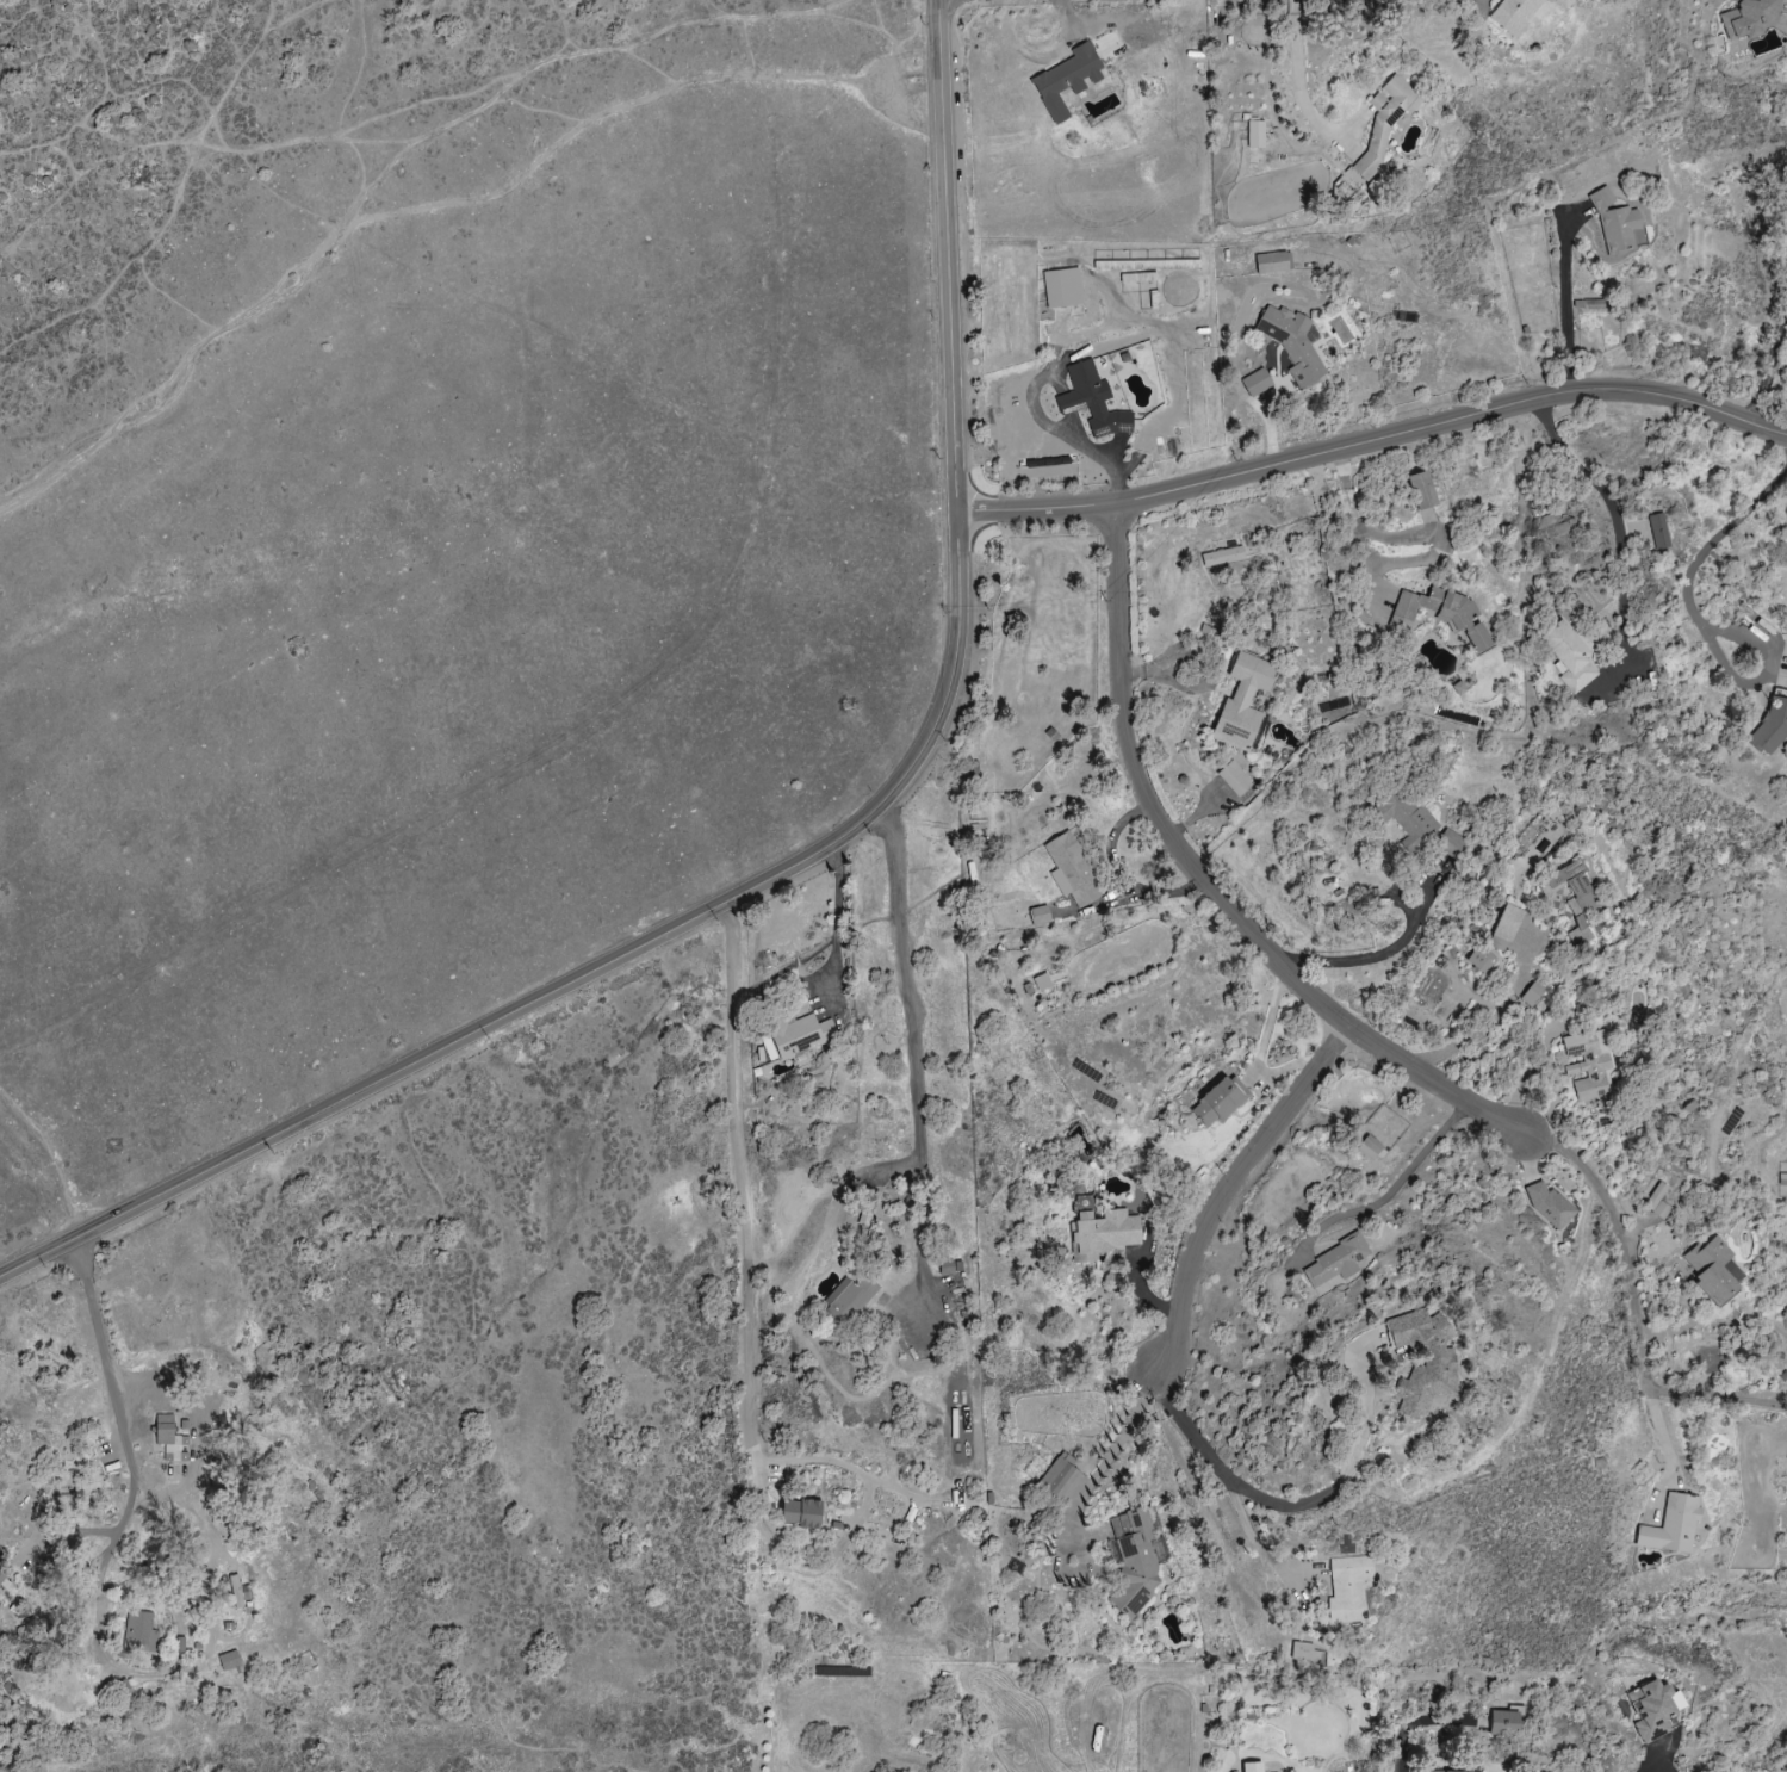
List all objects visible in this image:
building: (1565, 4)
building: (1515, 14)
building: (1752, 18)
building: (1068, 80)
road: (1298, 80)
building: (1385, 122)
building: (1257, 134)
road: (447, 213)
building: (1272, 262)
building: (1063, 289)
road: (1564, 302)
building: (1293, 343)
road: (1768, 360)
building: (1257, 383)
building: (1093, 402)
road: (1375, 440)
building: (1423, 490)
road: (1637, 518)
building: (1658, 532)
road: (1723, 533)
building: (1223, 557)
building: (1441, 614)
building: (1570, 656)
road: (1766, 677)
building: (1245, 702)
building: (1773, 727)
building: (1235, 779)
building: (1408, 819)
building: (1450, 844)
road: (809, 855)
building: (1073, 870)
building: (1574, 898)
building: (1030, 918)
building: (1506, 928)
road: (1377, 954)
building: (1482, 960)
building: (1043, 983)
road: (1311, 995)
building: (1533, 995)
road: (1494, 1017)
building: (801, 1036)
building: (770, 1051)
road: (912, 1062)
building: (1588, 1066)
building: (1220, 1099)
building: (1782, 1179)
road: (1231, 1189)
road: (1390, 1191)
building: (1657, 1201)
building: (1550, 1203)
road: (751, 1219)
building: (1105, 1233)
building: (1341, 1262)
building: (948, 1268)
building: (1714, 1269)
building: (848, 1300)
building: (1439, 1357)
road: (1715, 1398)
road: (116, 1400)
road: (1186, 1430)
road: (1657, 1430)
building: (167, 1437)
building: (1119, 1449)
road: (1107, 1452)
road: (1341, 1475)
building: (1062, 1476)
building: (803, 1513)
building: (1674, 1525)
road: (1259, 1545)
building: (1133, 1562)
building: (1, 1576)
building: (1349, 1588)
building: (237, 1591)
building: (139, 1632)
building: (1305, 1653)
building: (230, 1660)
building: (1655, 1709)
building: (1507, 1721)
building: (1254, 1767)
building: (1454, 1771)

